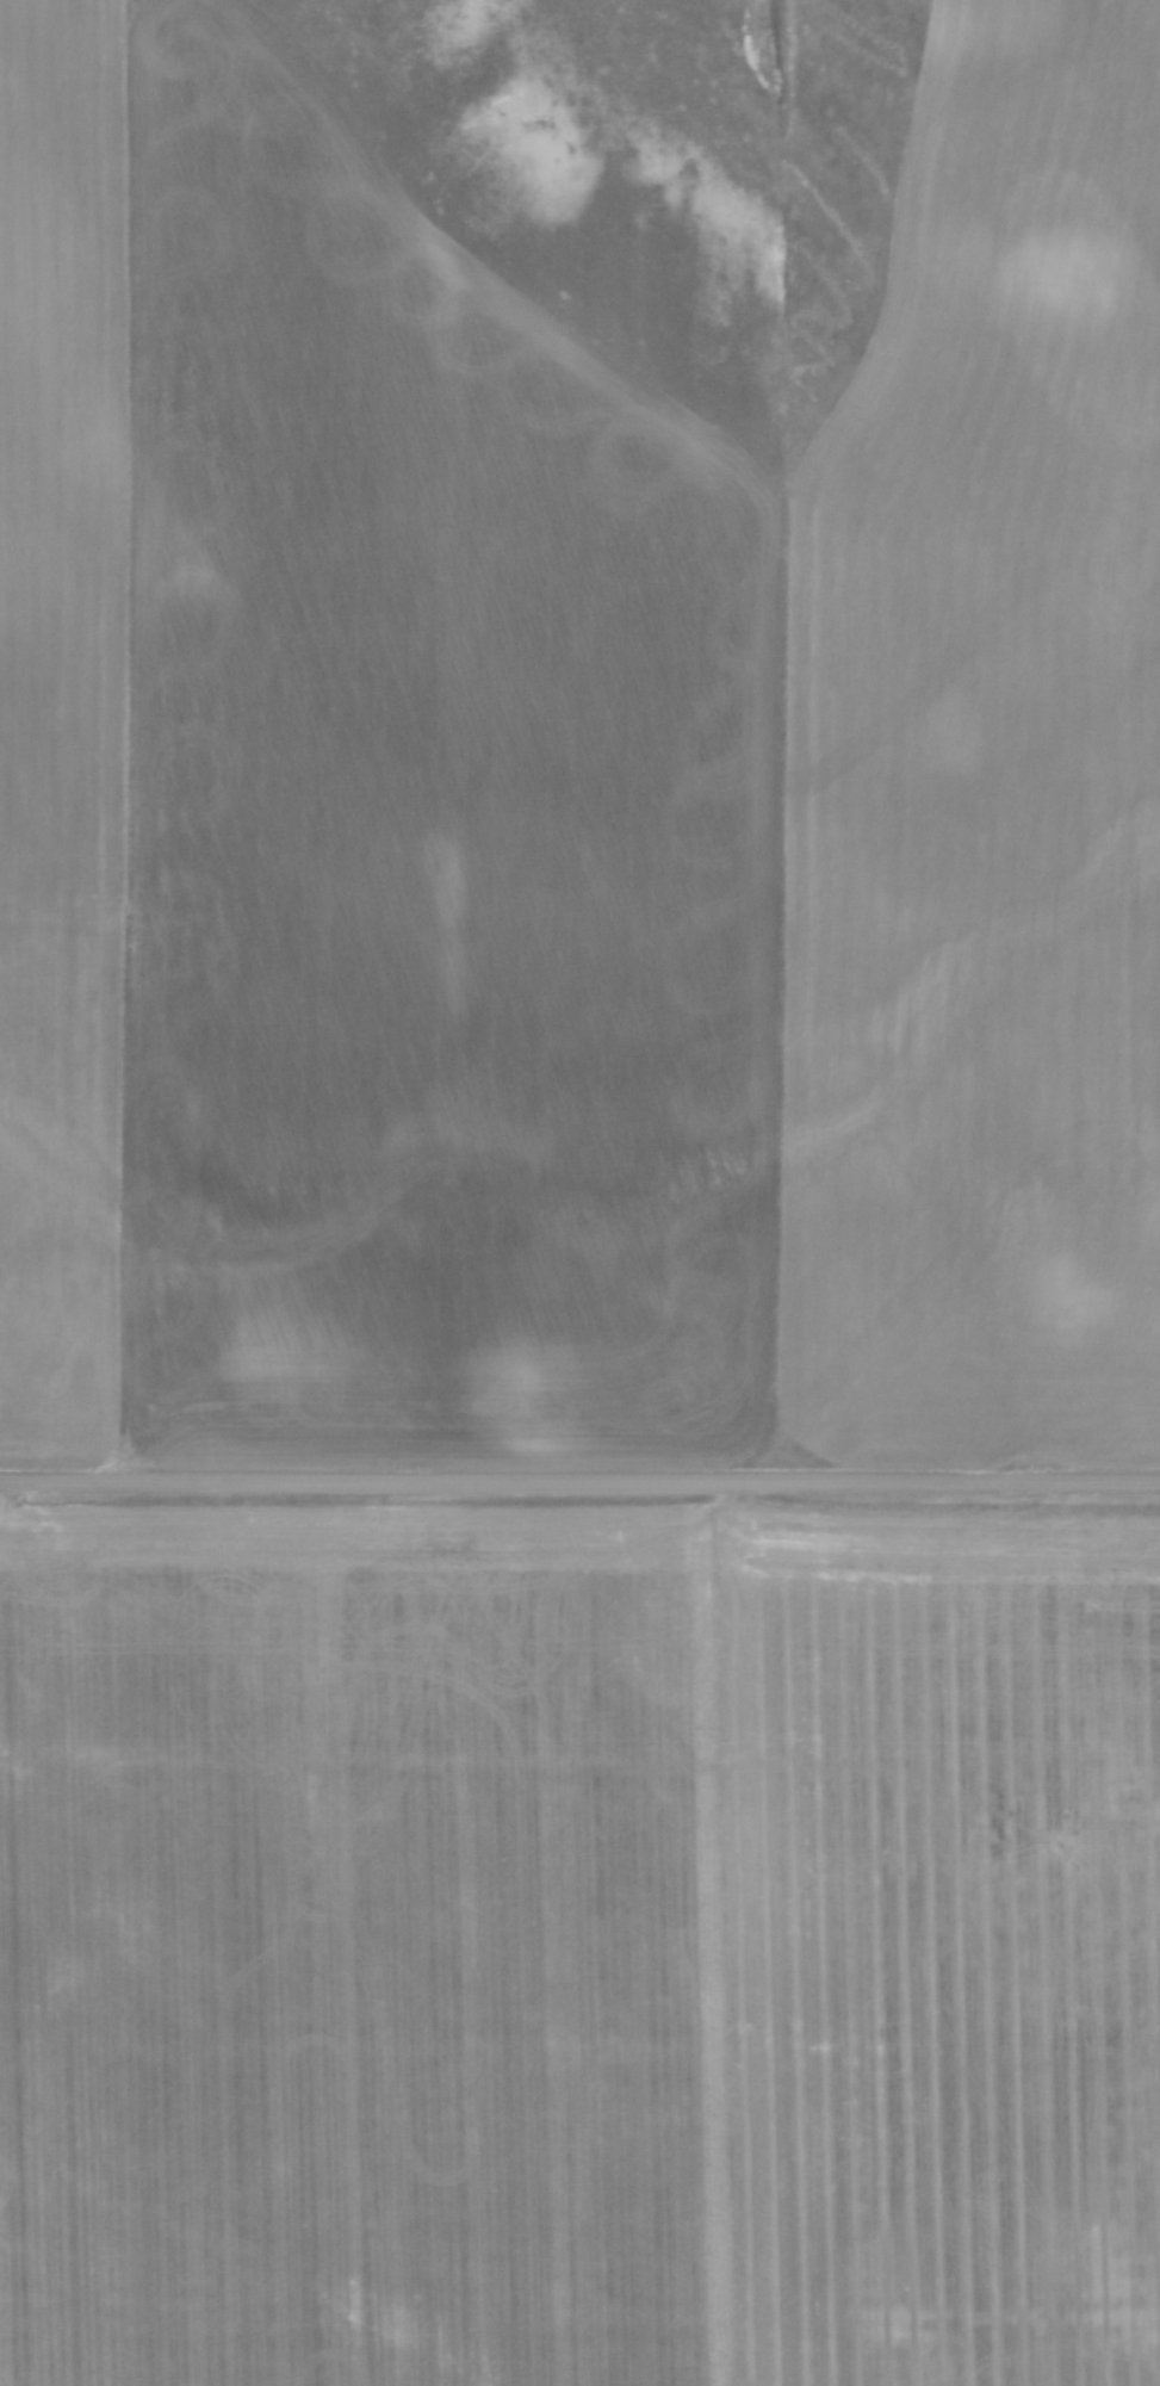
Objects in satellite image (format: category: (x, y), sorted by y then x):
crop: (572, 748)
road: (579, 1480)
crop: (579, 1944)

